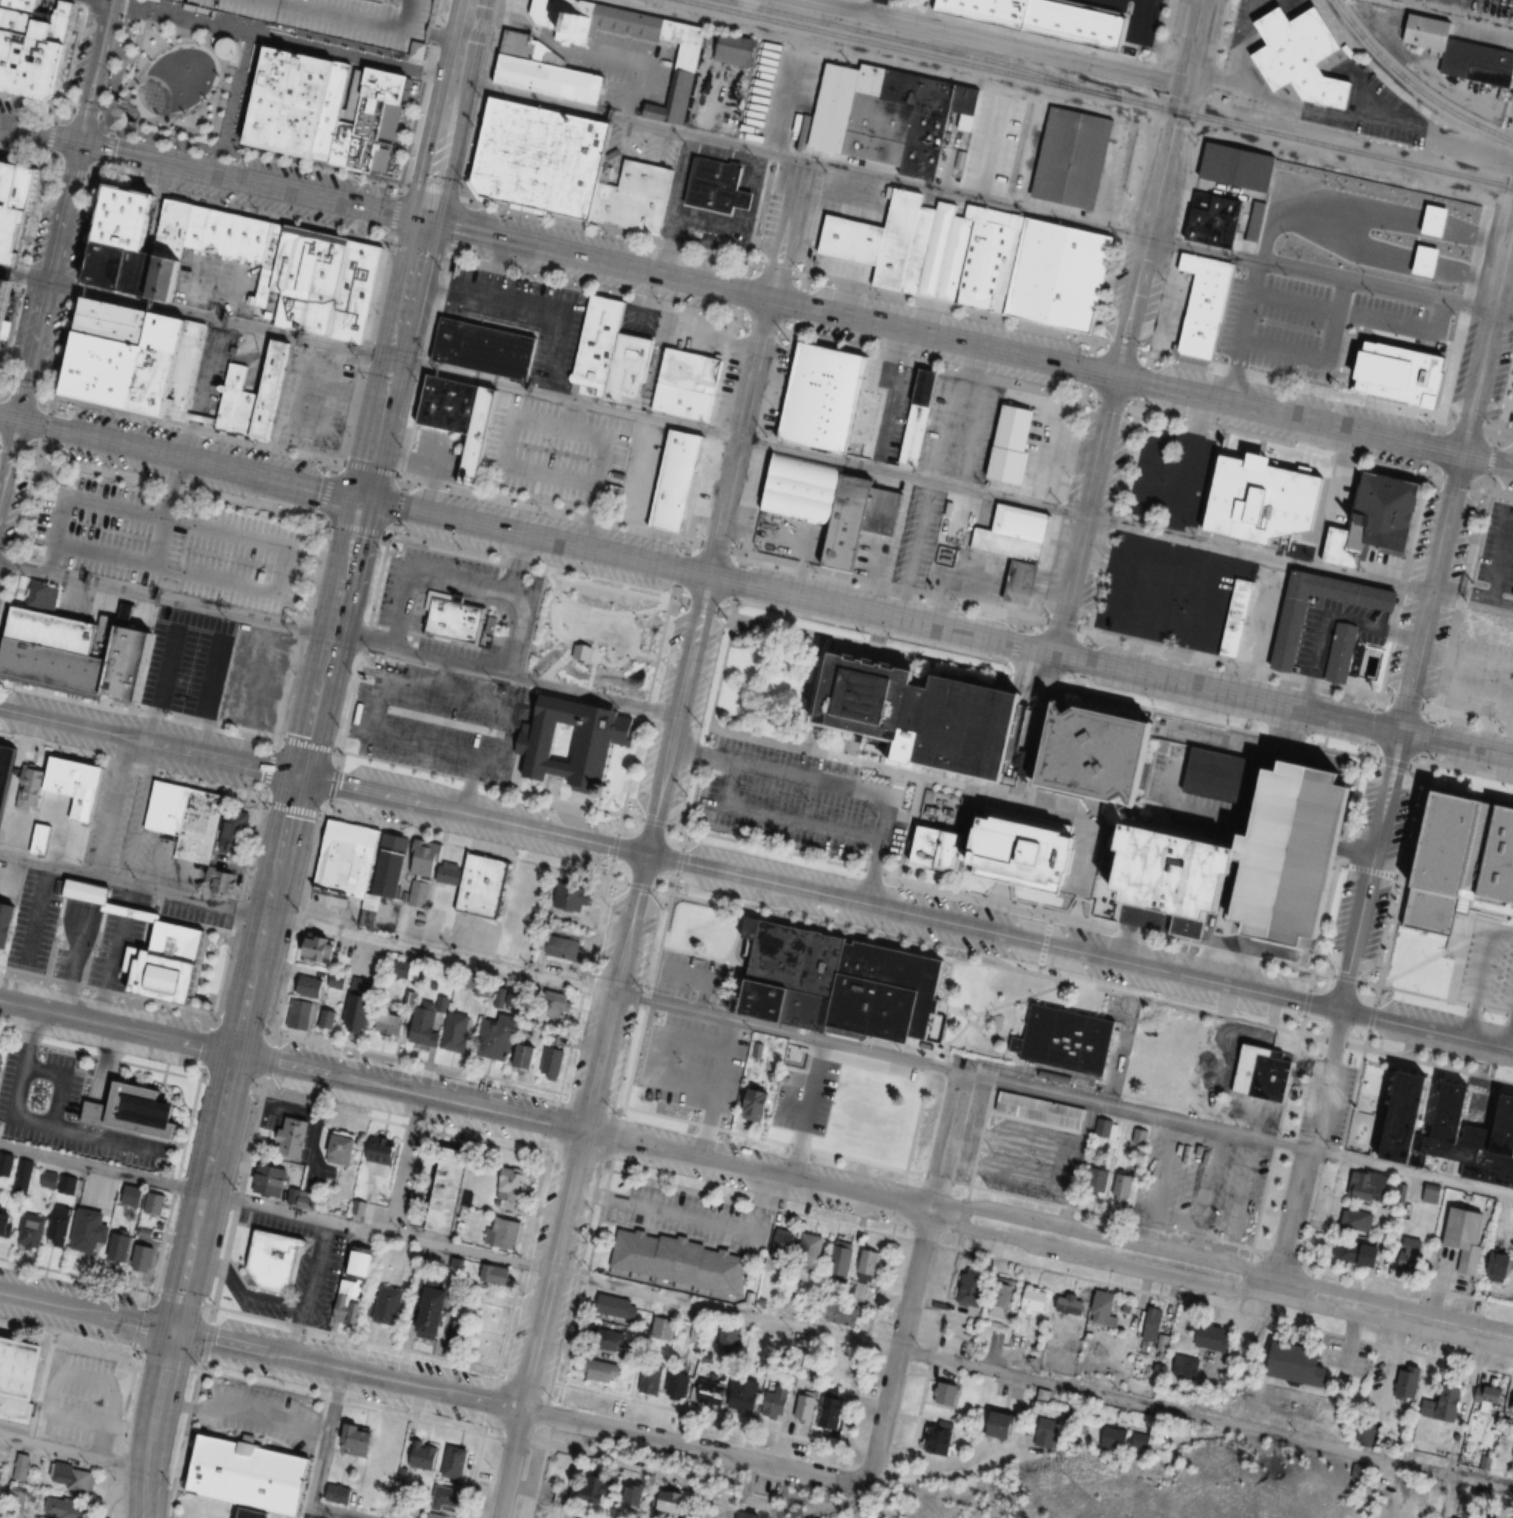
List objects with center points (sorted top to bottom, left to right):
road: (102, 1)
road: (853, 4)
road: (1450, 14)
building: (356, 18)
parking lot: (356, 18)
building: (1040, 18)
building: (579, 20)
parking lot: (1133, 20)
road: (1220, 34)
road: (282, 39)
road: (996, 41)
road: (1050, 41)
railway: (912, 42)
building: (34, 44)
building: (737, 49)
building: (1457, 51)
building: (1303, 56)
road: (92, 71)
building: (680, 74)
road: (442, 76)
railway: (1411, 85)
road: (424, 92)
railway: (1097, 93)
road: (30, 99)
building: (287, 101)
building: (331, 108)
road: (446, 110)
road: (479, 113)
building: (890, 116)
building: (366, 117)
road: (37, 134)
traffic signals: (76, 143)
road: (258, 151)
building: (539, 157)
building: (1073, 157)
road: (46, 166)
building: (1236, 167)
road: (248, 181)
building: (716, 186)
road: (1157, 188)
road: (433, 190)
building: (632, 195)
road: (983, 201)
building: (16, 205)
road: (60, 211)
building: (126, 217)
traffic signals: (421, 220)
building: (1212, 221)
building: (193, 225)
building: (169, 226)
building: (231, 233)
road: (28, 242)
road: (384, 243)
road: (389, 244)
building: (907, 244)
building: (1440, 244)
road: (749, 262)
building: (136, 270)
road: (22, 274)
building: (295, 276)
building: (1063, 276)
road: (591, 285)
building: (349, 288)
building: (5, 299)
road: (767, 299)
road: (221, 302)
building: (1206, 304)
parking lot: (1295, 331)
building: (600, 345)
road: (30, 348)
building: (486, 349)
building: (123, 356)
road: (389, 358)
road: (938, 364)
building: (629, 368)
building: (1405, 372)
traffic signals: (1115, 376)
building: (681, 382)
flagpole: (1341, 385)
flagpole: (1346, 386)
road: (203, 388)
building: (250, 396)
road: (564, 396)
parking lot: (314, 400)
building: (824, 400)
building: (449, 402)
road: (7, 415)
building: (916, 416)
traffic signals: (15, 417)
road: (47, 420)
road: (1314, 420)
building: (1512, 422)
road: (711, 430)
building: (478, 435)
building: (1012, 443)
road: (7, 450)
parking lot: (436, 454)
road: (186, 456)
building: (677, 482)
road: (326, 491)
traffic signals: (358, 497)
building: (1264, 500)
building: (832, 506)
road: (545, 508)
road: (1083, 515)
building: (1378, 522)
parking lot: (172, 541)
road: (313, 543)
building: (1019, 549)
road: (740, 555)
building: (1496, 555)
road: (781, 562)
road: (530, 566)
road: (1297, 566)
road: (467, 577)
parking lot: (1172, 592)
road: (486, 596)
building: (1236, 617)
building: (452, 618)
road: (1425, 619)
building: (1487, 627)
road: (935, 628)
building: (55, 630)
park: (601, 632)
road: (327, 636)
road: (339, 638)
road: (1015, 640)
building: (1290, 640)
road: (875, 646)
building: (1341, 652)
building: (131, 664)
building: (55, 665)
road: (160, 684)
road: (259, 693)
road: (212, 696)
building: (917, 711)
building: (607, 737)
road: (504, 761)
road: (863, 762)
road: (267, 765)
road: (130, 766)
building: (4, 767)
traffic signals: (298, 776)
road: (828, 782)
road: (470, 784)
road: (662, 784)
building: (66, 785)
road: (111, 799)
road: (587, 805)
parking lot: (802, 805)
building: (1131, 808)
road: (621, 813)
road: (775, 817)
road: (688, 818)
road: (654, 821)
road: (686, 828)
building: (199, 830)
building: (41, 839)
road: (613, 844)
building: (936, 847)
building: (1032, 851)
building: (1298, 852)
parking lot: (1298, 852)
building: (1461, 858)
building: (345, 859)
road: (678, 859)
road: (1375, 870)
road: (309, 871)
road: (607, 876)
road: (756, 878)
road: (132, 884)
road: (639, 884)
road: (671, 891)
building: (89, 892)
building: (566, 895)
road: (1014, 901)
road: (265, 914)
road: (1050, 914)
building: (7, 922)
road: (1389, 940)
road: (1043, 941)
building: (565, 948)
building: (322, 949)
road: (976, 952)
road: (1239, 952)
road: (440, 953)
road: (1485, 959)
building: (166, 962)
road: (975, 962)
road: (1037, 968)
parking lot: (1488, 969)
road: (1314, 970)
road: (1346, 976)
building: (320, 982)
building: (838, 983)
road: (1377, 983)
road: (582, 988)
road: (1306, 1001)
building: (358, 1007)
building: (299, 1015)
road: (1371, 1015)
building: (327, 1018)
road: (1241, 1018)
road: (1471, 1022)
building: (428, 1023)
building: (393, 1024)
road: (1301, 1024)
road: (116, 1026)
building: (457, 1031)
building: (673, 1031)
building: (699, 1033)
road: (1510, 1035)
building: (498, 1037)
building: (1066, 1040)
building: (735, 1043)
road: (1297, 1045)
building: (525, 1056)
building: (830, 1058)
building: (803, 1062)
building: (2, 1064)
building: (554, 1064)
building: (1264, 1073)
road: (1498, 1077)
road: (101, 1080)
road: (20, 1081)
road: (1325, 1081)
building: (905, 1082)
building: (838, 1088)
building: (662, 1090)
building: (723, 1094)
road: (1063, 1096)
building: (759, 1106)
building: (145, 1107)
building: (1040, 1111)
road: (665, 1114)
building: (863, 1119)
road: (61, 1127)
building: (1100, 1127)
building: (1444, 1128)
road: (580, 1132)
building: (895, 1132)
building: (293, 1137)
building: (341, 1149)
building: (382, 1150)
road: (402, 1164)
road: (101, 1169)
road: (908, 1170)
road: (938, 1176)
building: (1100, 1178)
building: (271, 1179)
road: (961, 1182)
building: (1123, 1182)
building: (511, 1186)
building: (1367, 1186)
road: (968, 1191)
building: (1399, 1194)
building: (1432, 1194)
building: (451, 1195)
building: (304, 1199)
road: (1106, 1214)
building: (1357, 1220)
building: (6, 1221)
building: (61, 1224)
road: (1289, 1224)
building: (31, 1229)
building: (91, 1230)
building: (504, 1232)
building: (1466, 1236)
building: (783, 1241)
building: (122, 1244)
road: (1319, 1244)
building: (810, 1251)
building: (1359, 1253)
building: (1411, 1255)
building: (144, 1257)
building: (842, 1257)
building: (271, 1258)
building: (679, 1260)
building: (364, 1263)
road: (1220, 1264)
building: (1501, 1266)
road: (550, 1270)
building: (866, 1272)
building: (495, 1273)
road: (913, 1275)
road: (181, 1284)
road: (1218, 1285)
building: (973, 1287)
building: (1003, 1292)
building: (351, 1301)
building: (390, 1304)
building: (1069, 1304)
building: (622, 1308)
building: (1103, 1309)
road: (85, 1311)
building: (437, 1311)
building: (1151, 1323)
building: (662, 1327)
traffic signals: (171, 1330)
building: (462, 1335)
building: (1213, 1337)
building: (608, 1340)
building: (1299, 1363)
building: (1184, 1367)
road: (346, 1369)
building: (601, 1370)
road: (54, 1376)
building: (21, 1377)
building: (650, 1379)
building: (1408, 1382)
building: (679, 1384)
building: (712, 1391)
building: (947, 1393)
building: (744, 1394)
building: (1487, 1397)
building: (777, 1400)
building: (1443, 1404)
building: (805, 1406)
building: (833, 1412)
road: (1205, 1419)
building: (999, 1425)
road: (133, 1431)
building: (1045, 1433)
building: (1365, 1435)
building: (358, 1439)
building: (1122, 1439)
building: (938, 1441)
road: (72, 1447)
road: (692, 1448)
building: (422, 1455)
road: (320, 1462)
building: (456, 1463)
road: (509, 1463)
building: (22, 1466)
building: (1356, 1472)
building: (245, 1473)
road: (941, 1476)
building: (71, 1477)
building: (602, 1485)
building: (339, 1494)
building: (635, 1494)
building: (376, 1500)
building: (447, 1501)
building: (672, 1502)
building: (64, 1508)
building: (748, 1514)
road: (269, 1515)
parking lot: (313, 1515)
parking lot: (272, 1517)
building: (1455, 1517)

